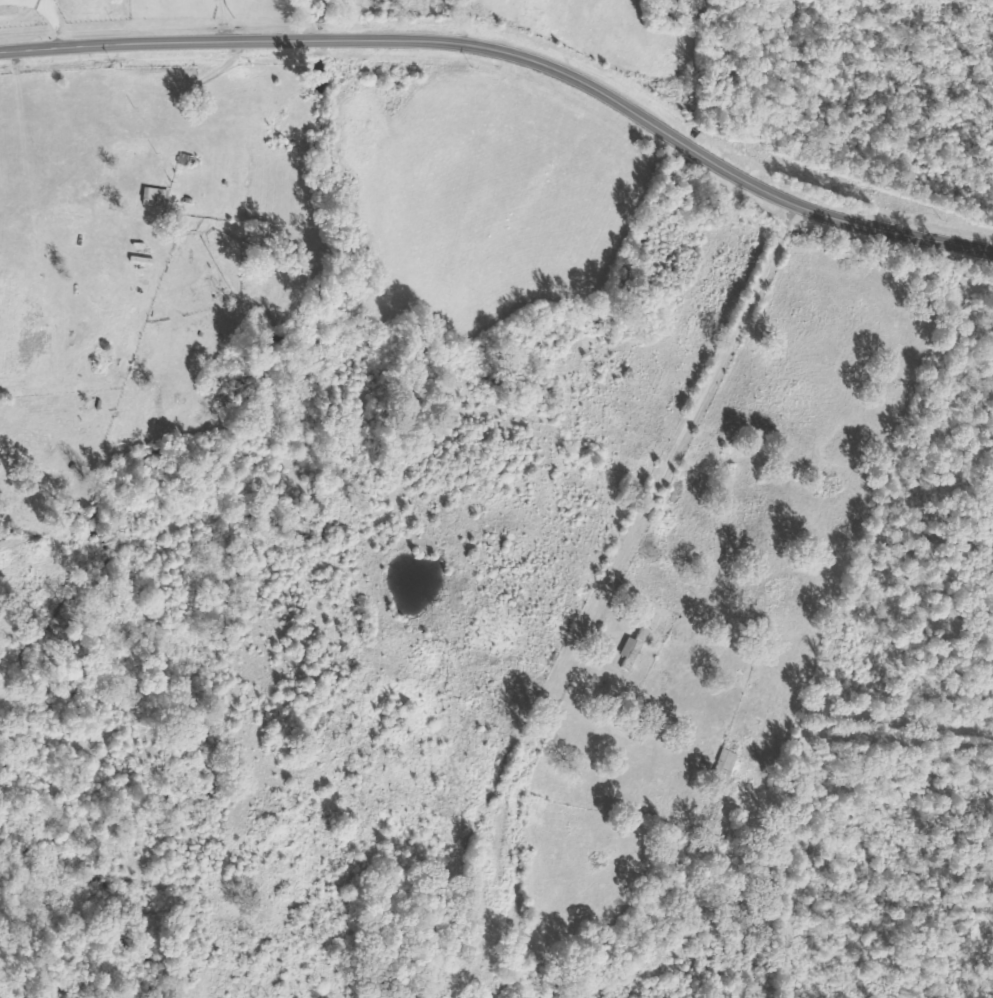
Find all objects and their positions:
road: (516, 56)
building: (189, 142)
building: (153, 194)
building: (630, 647)
building: (721, 766)

